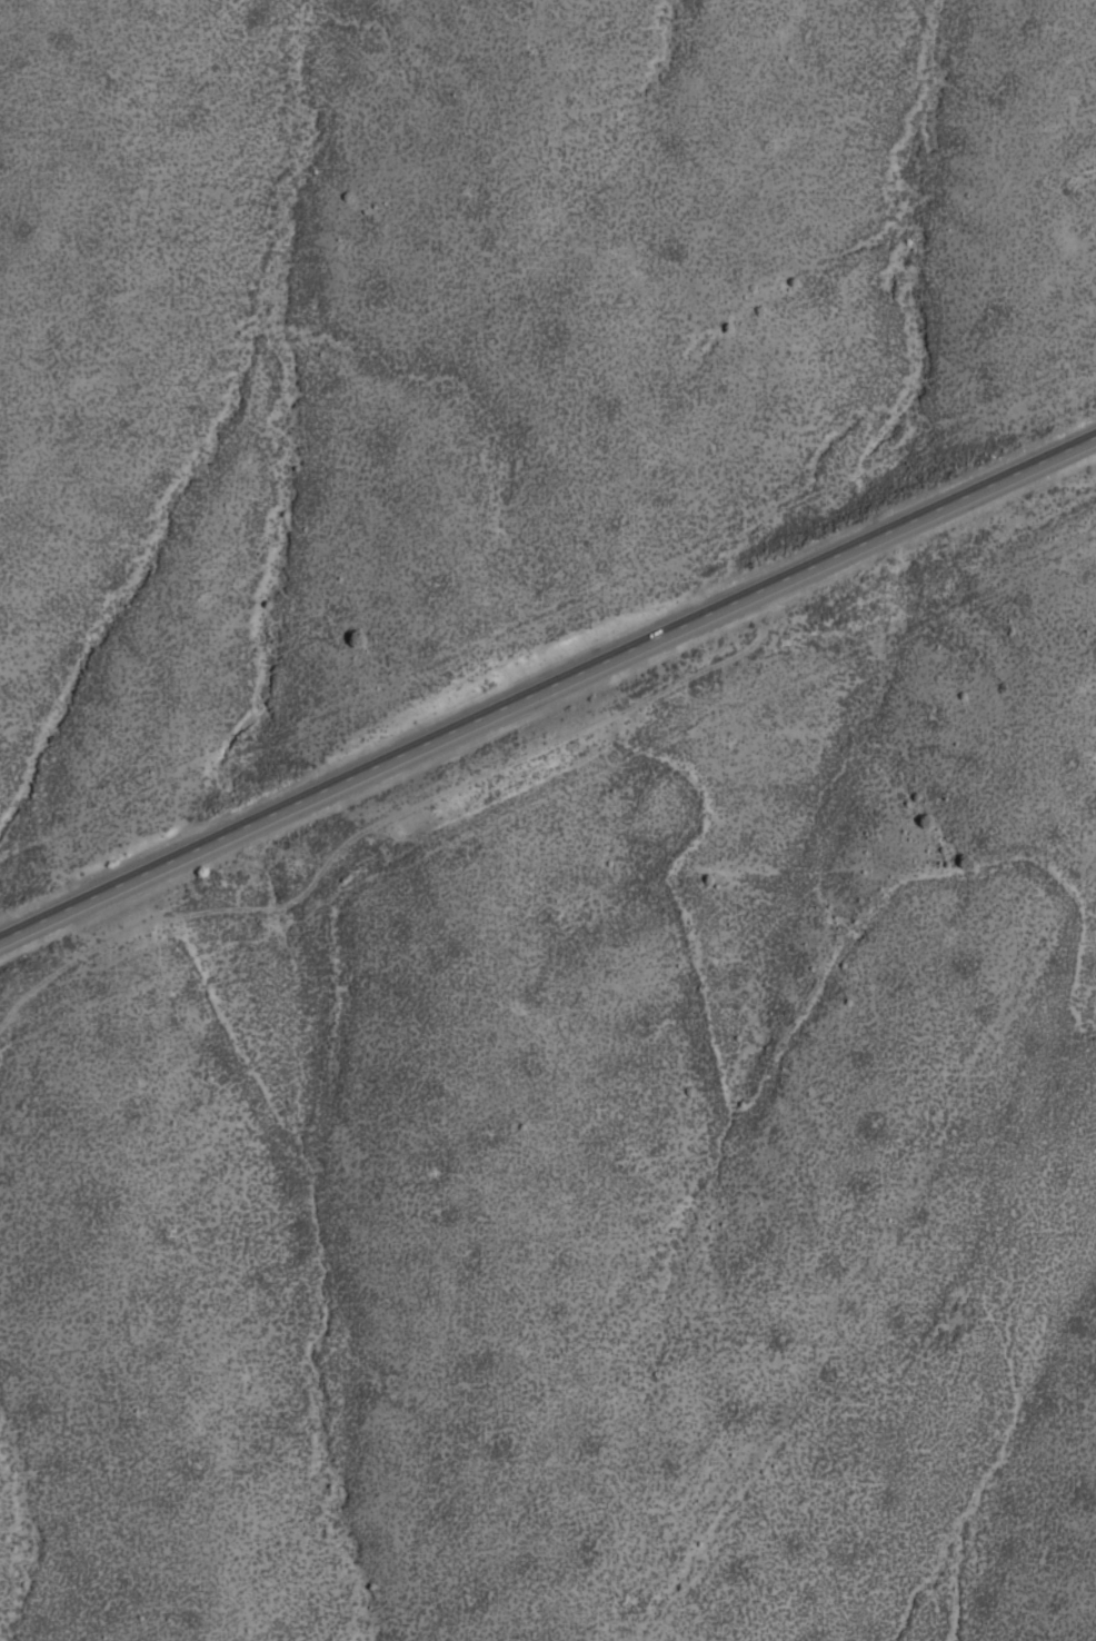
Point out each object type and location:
road: (547, 684)

